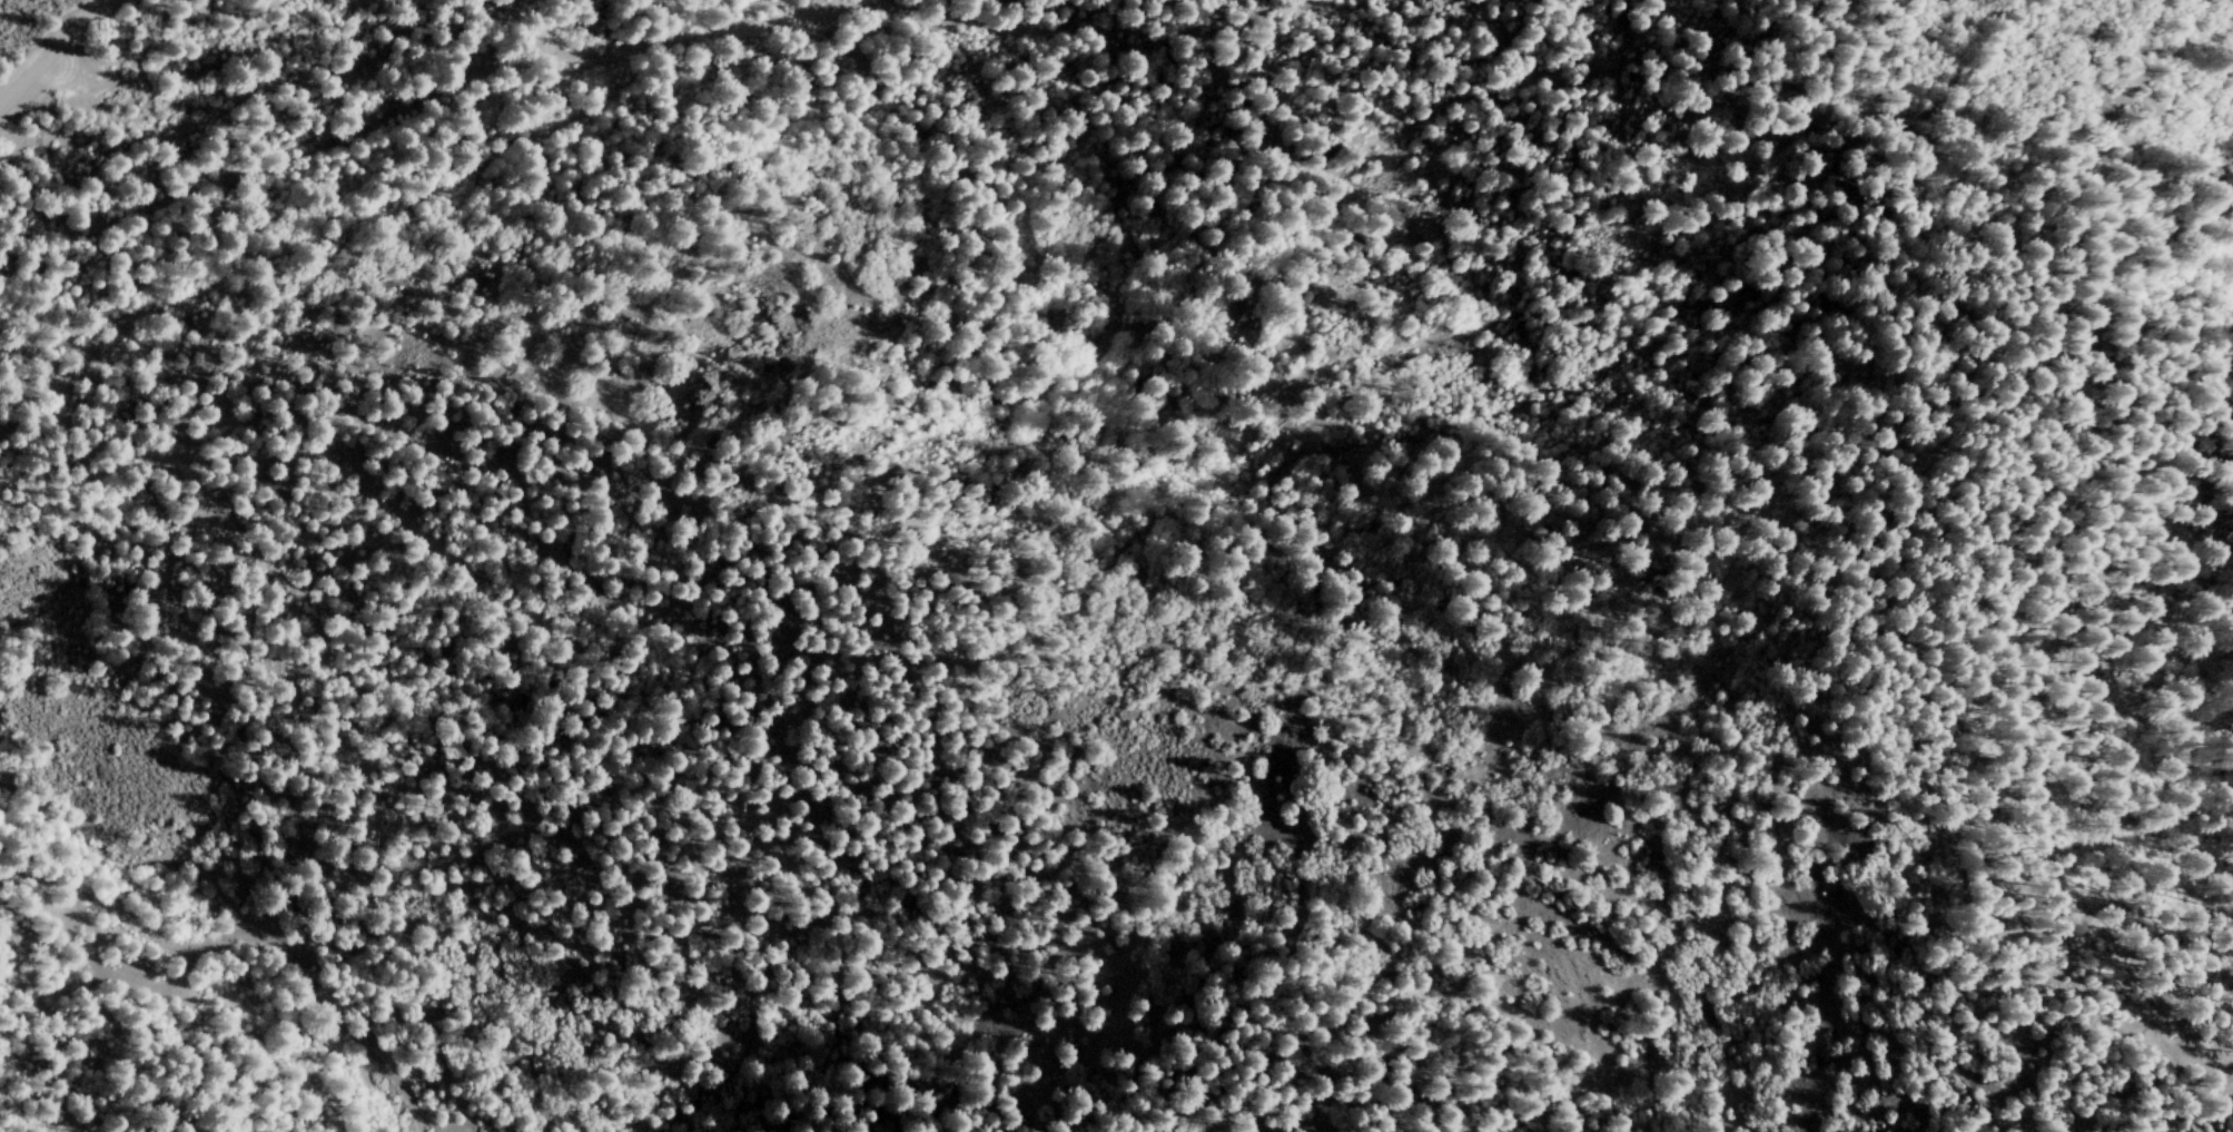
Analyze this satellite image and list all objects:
road: (55, 49)
road: (240, 925)

